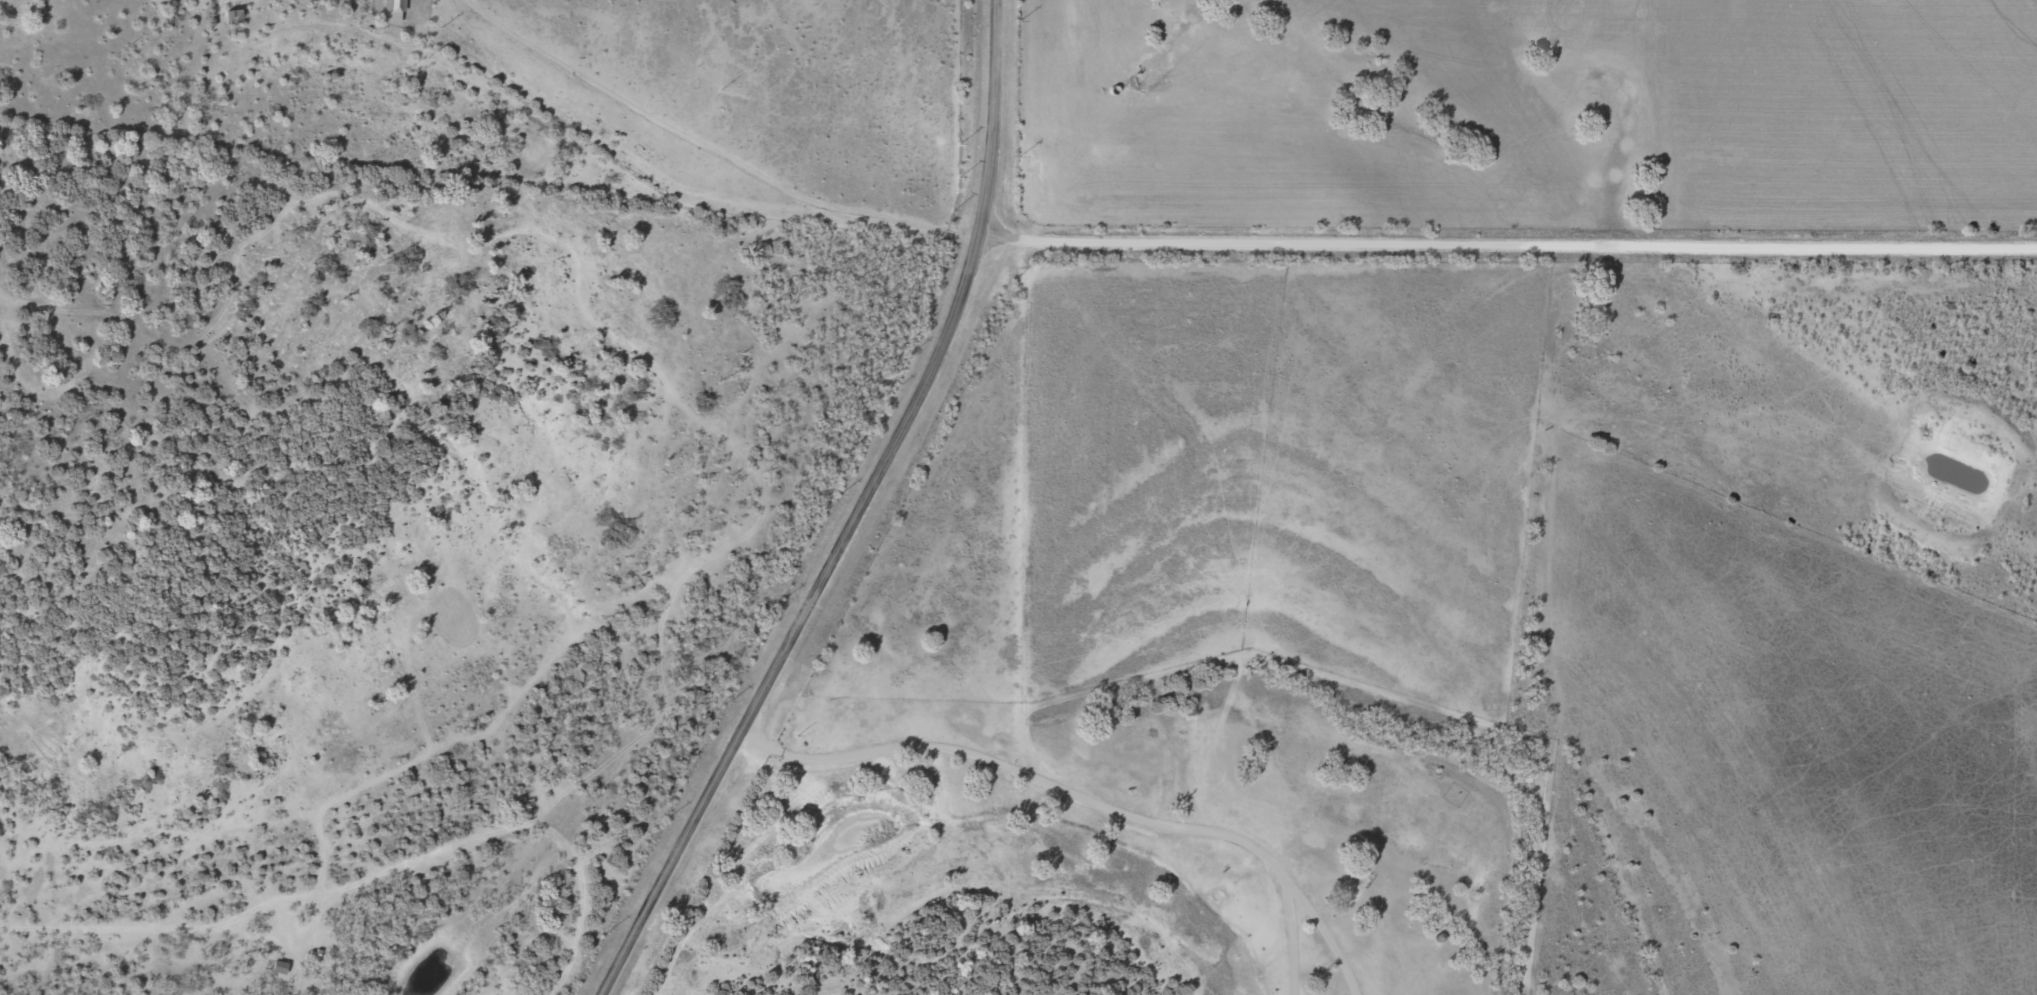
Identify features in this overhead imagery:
building: (394, 11)
building: (233, 17)
road: (679, 175)
road: (1510, 245)
road: (858, 515)
building: (278, 968)

